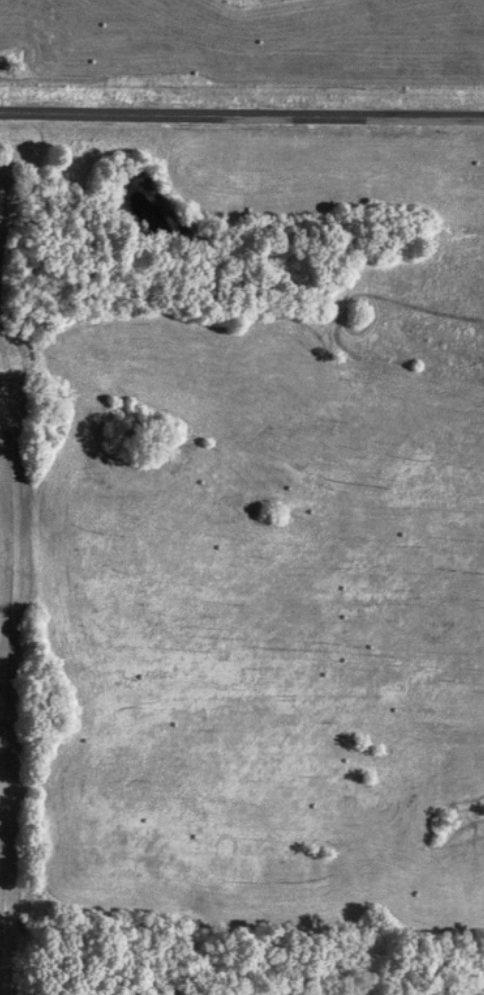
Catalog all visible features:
road: (242, 112)

